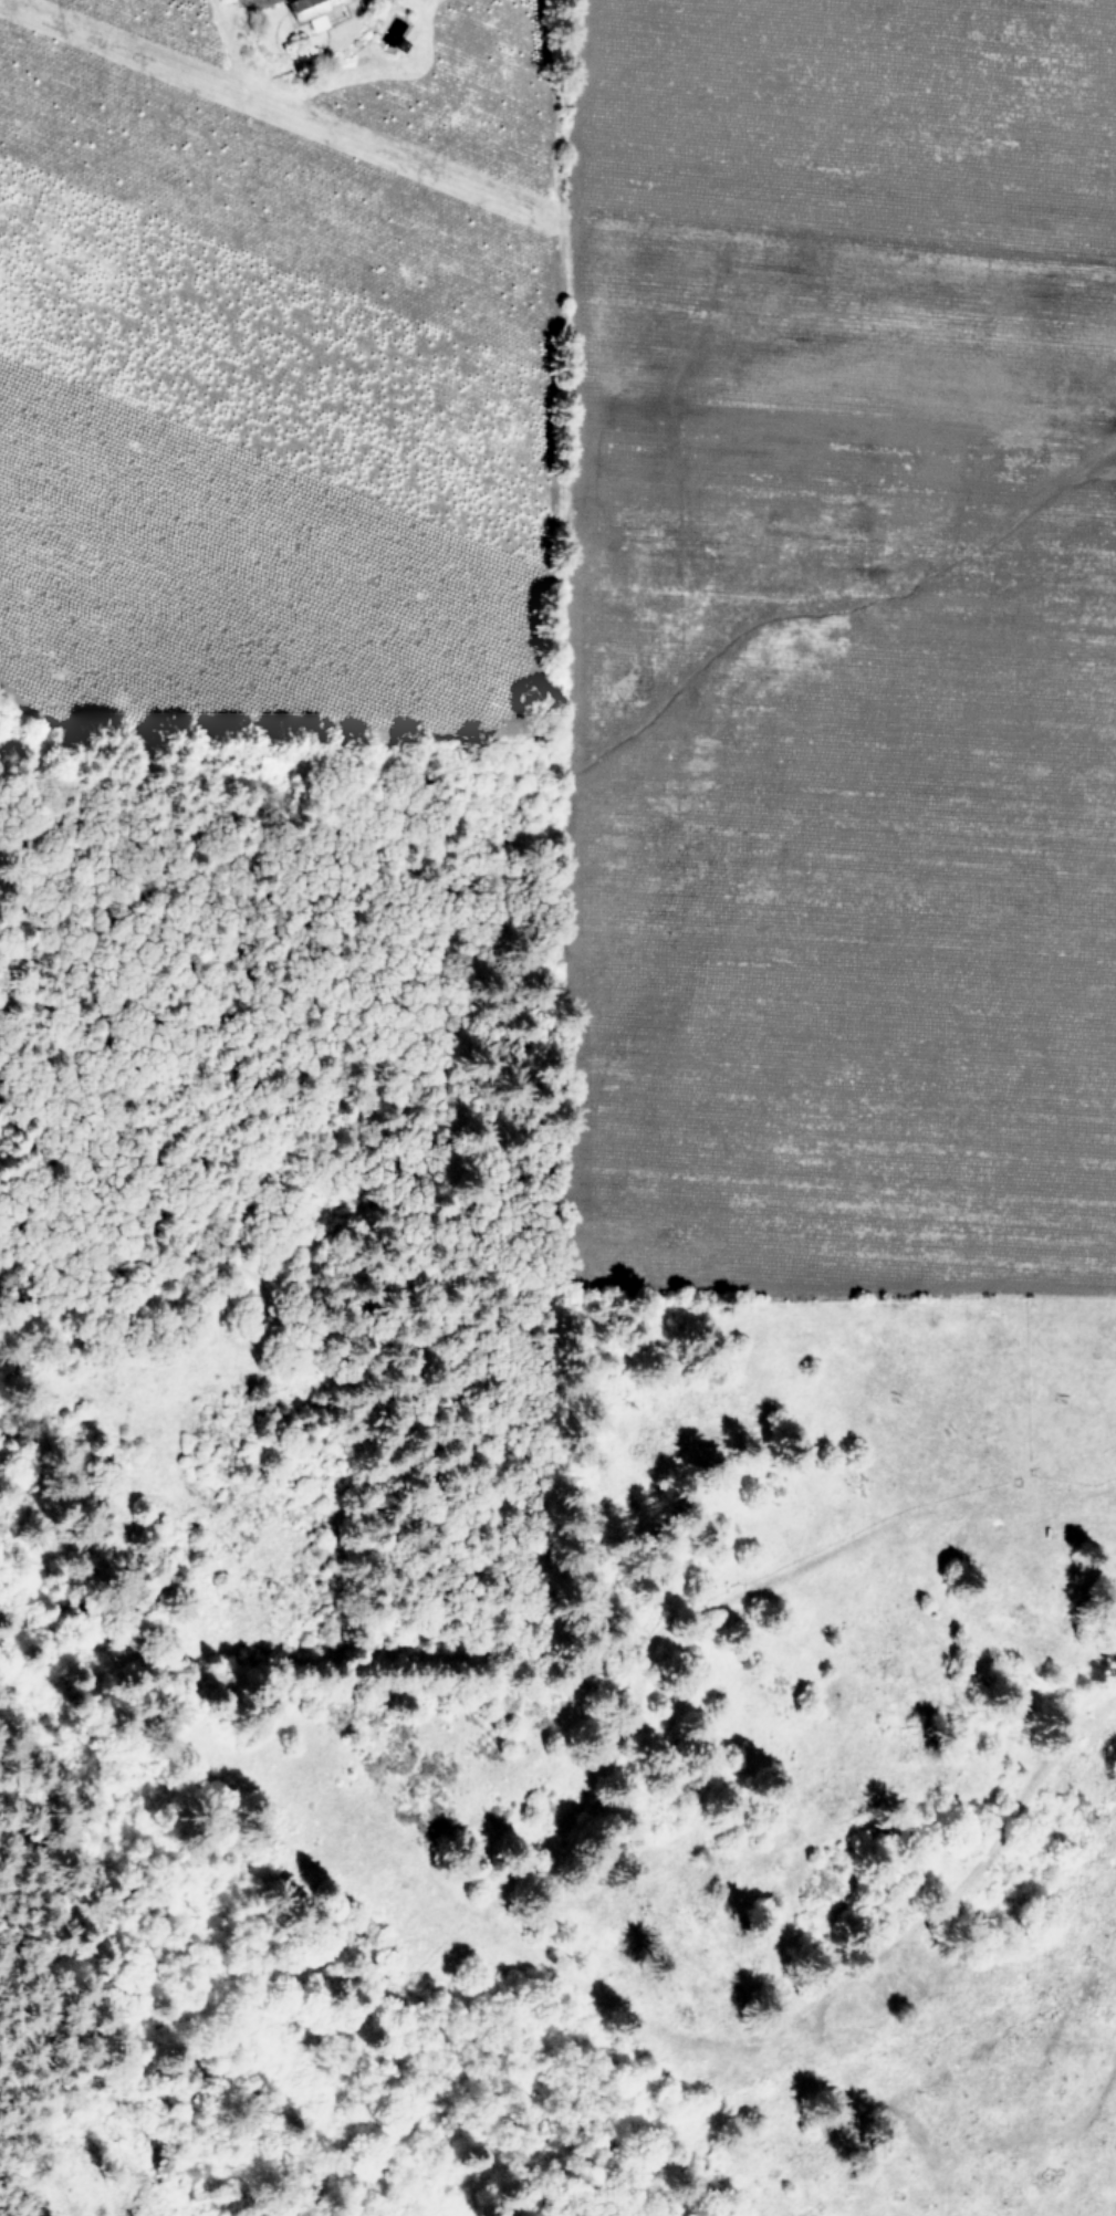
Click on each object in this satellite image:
road: (255, 6)
building: (312, 11)

